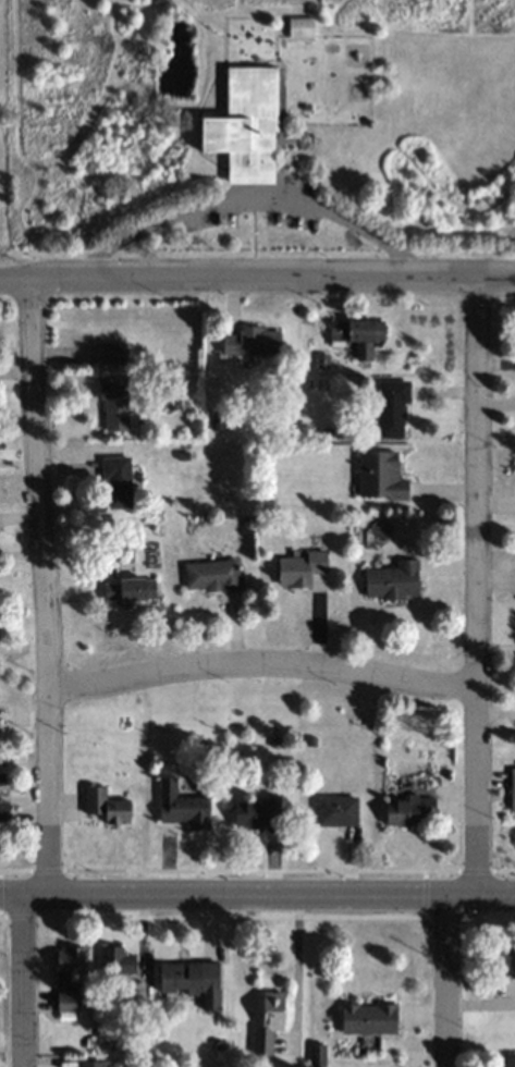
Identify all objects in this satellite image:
building: (301, 27)
building: (246, 128)
road: (249, 203)
road: (257, 275)
building: (366, 335)
building: (254, 341)
building: (110, 352)
building: (115, 403)
building: (392, 405)
building: (382, 476)
building: (119, 480)
building: (301, 568)
building: (212, 575)
road: (45, 581)
building: (393, 581)
road: (469, 582)
building: (130, 589)
road: (261, 666)
building: (513, 790)
building: (108, 806)
building: (183, 807)
building: (338, 811)
building: (412, 811)
building: (4, 812)
building: (256, 812)
road: (257, 887)
building: (505, 961)
road: (286, 973)
building: (121, 976)
road: (17, 977)
building: (69, 977)
building: (189, 977)
road: (445, 977)
building: (369, 1018)
building: (270, 1021)
building: (96, 1064)
building: (506, 1064)

